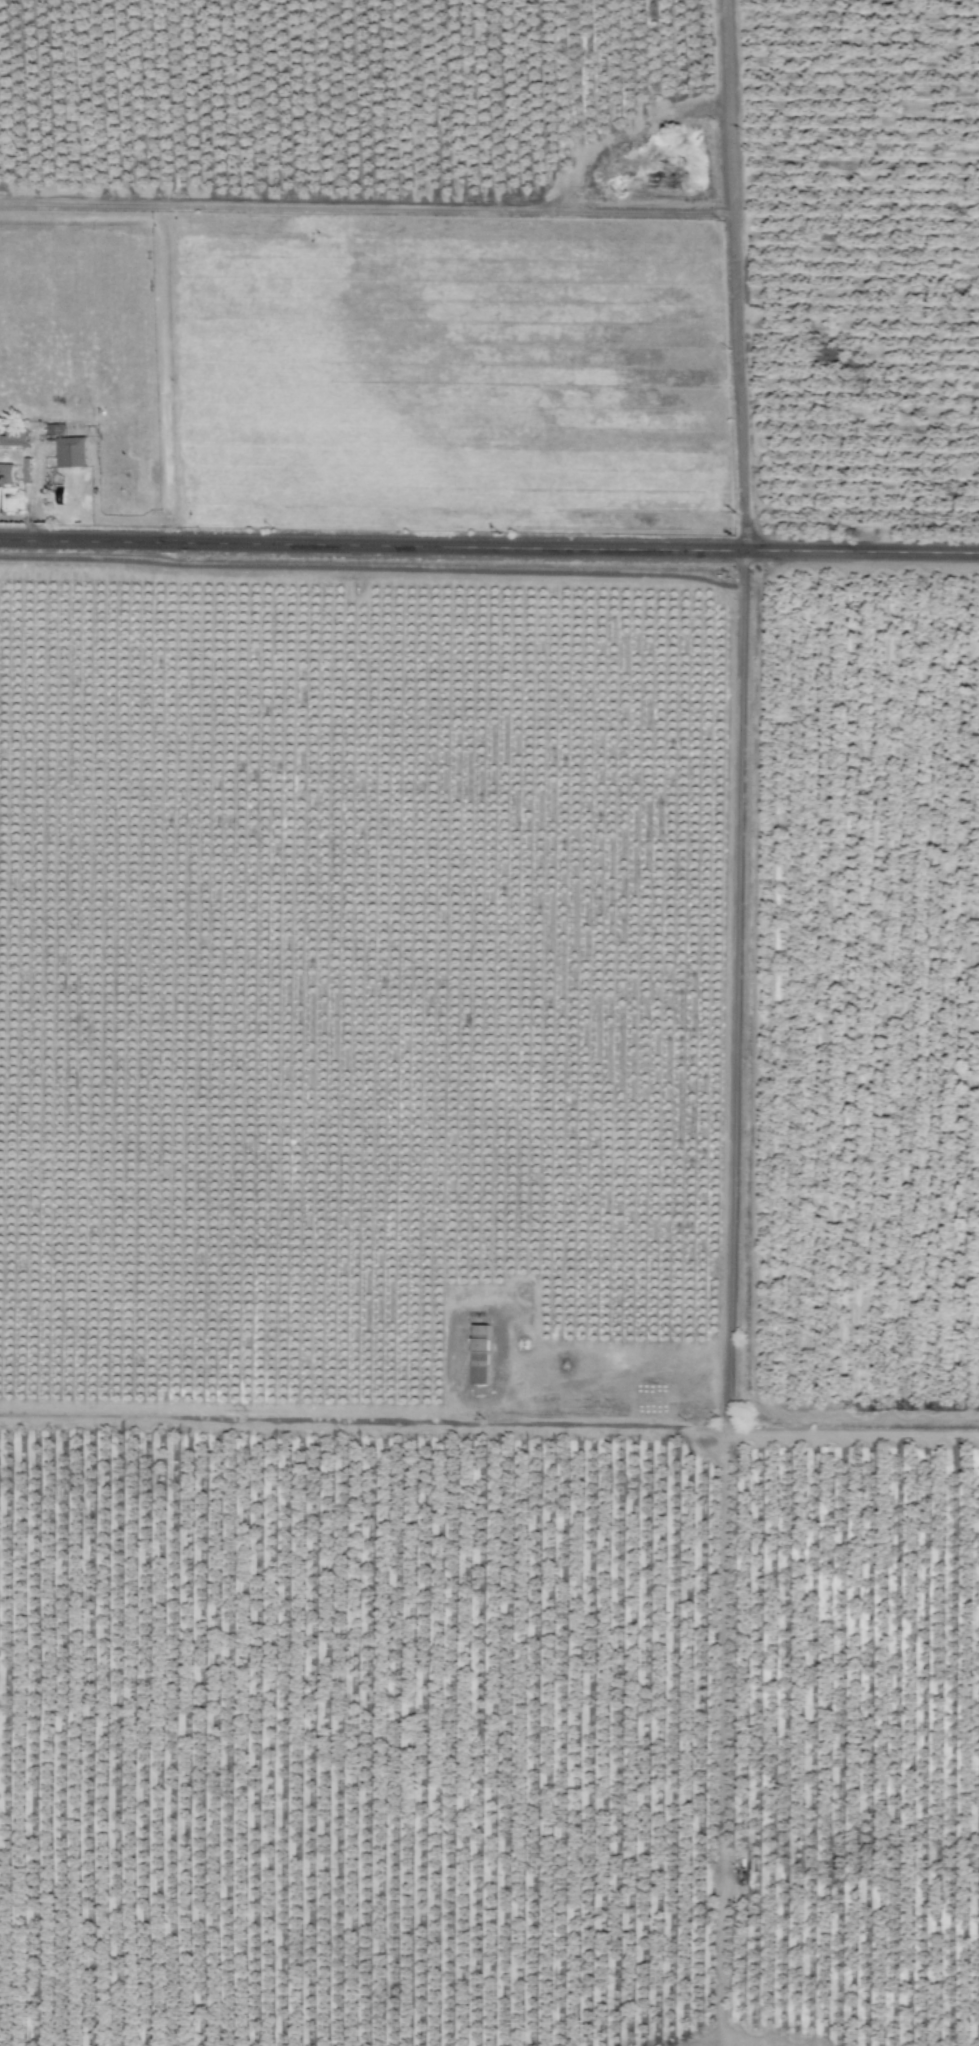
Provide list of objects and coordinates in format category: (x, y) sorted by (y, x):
road: (737, 274)
building: (54, 430)
building: (70, 452)
building: (6, 474)
road: (489, 546)
building: (479, 1354)

